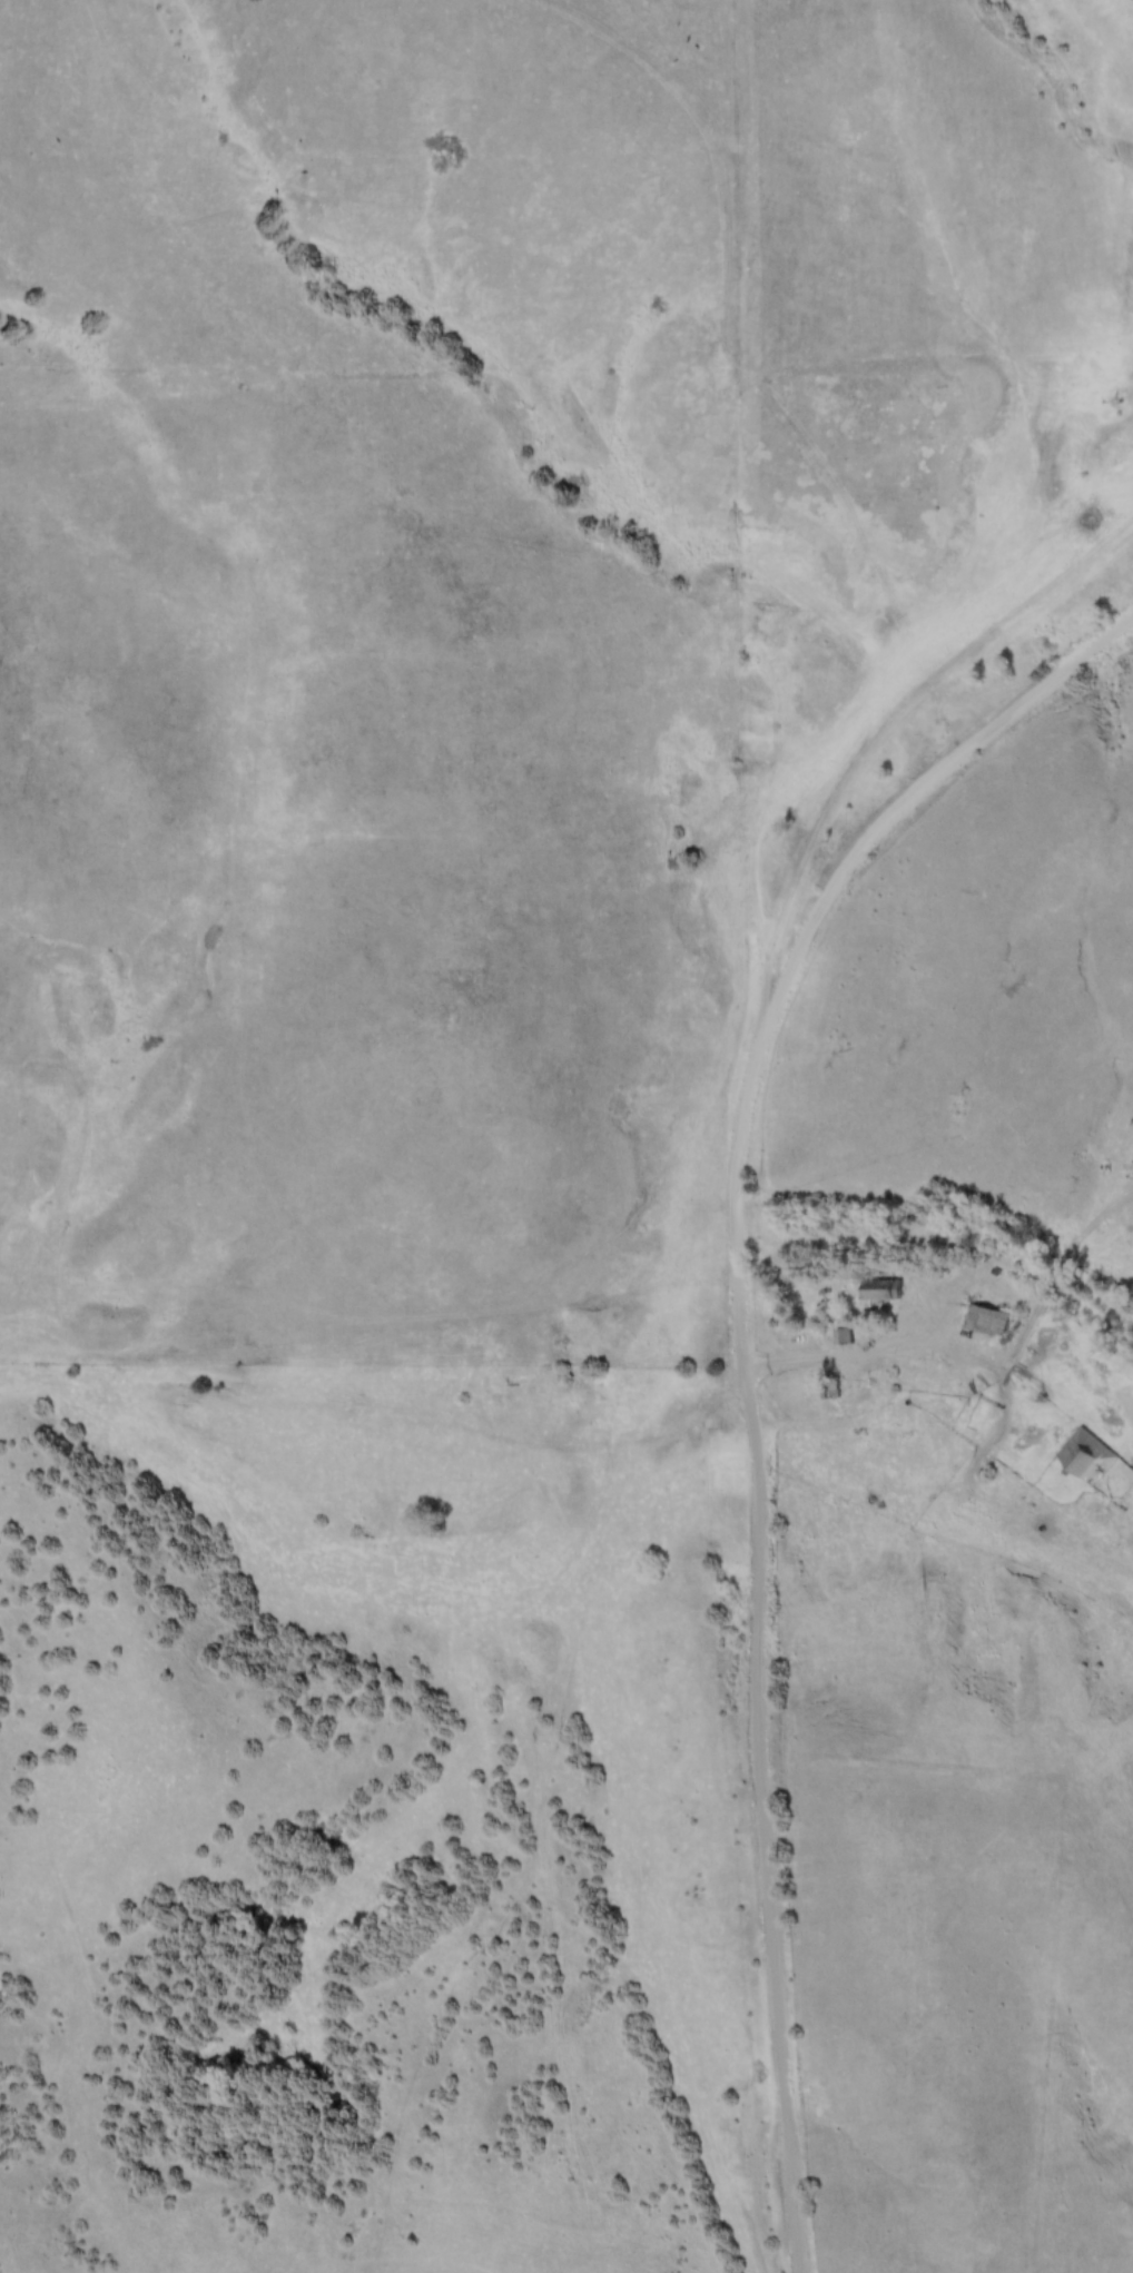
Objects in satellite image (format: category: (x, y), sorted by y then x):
building: (994, 552)
building: (879, 1295)
building: (988, 1321)
road: (745, 1367)
building: (1087, 1456)

